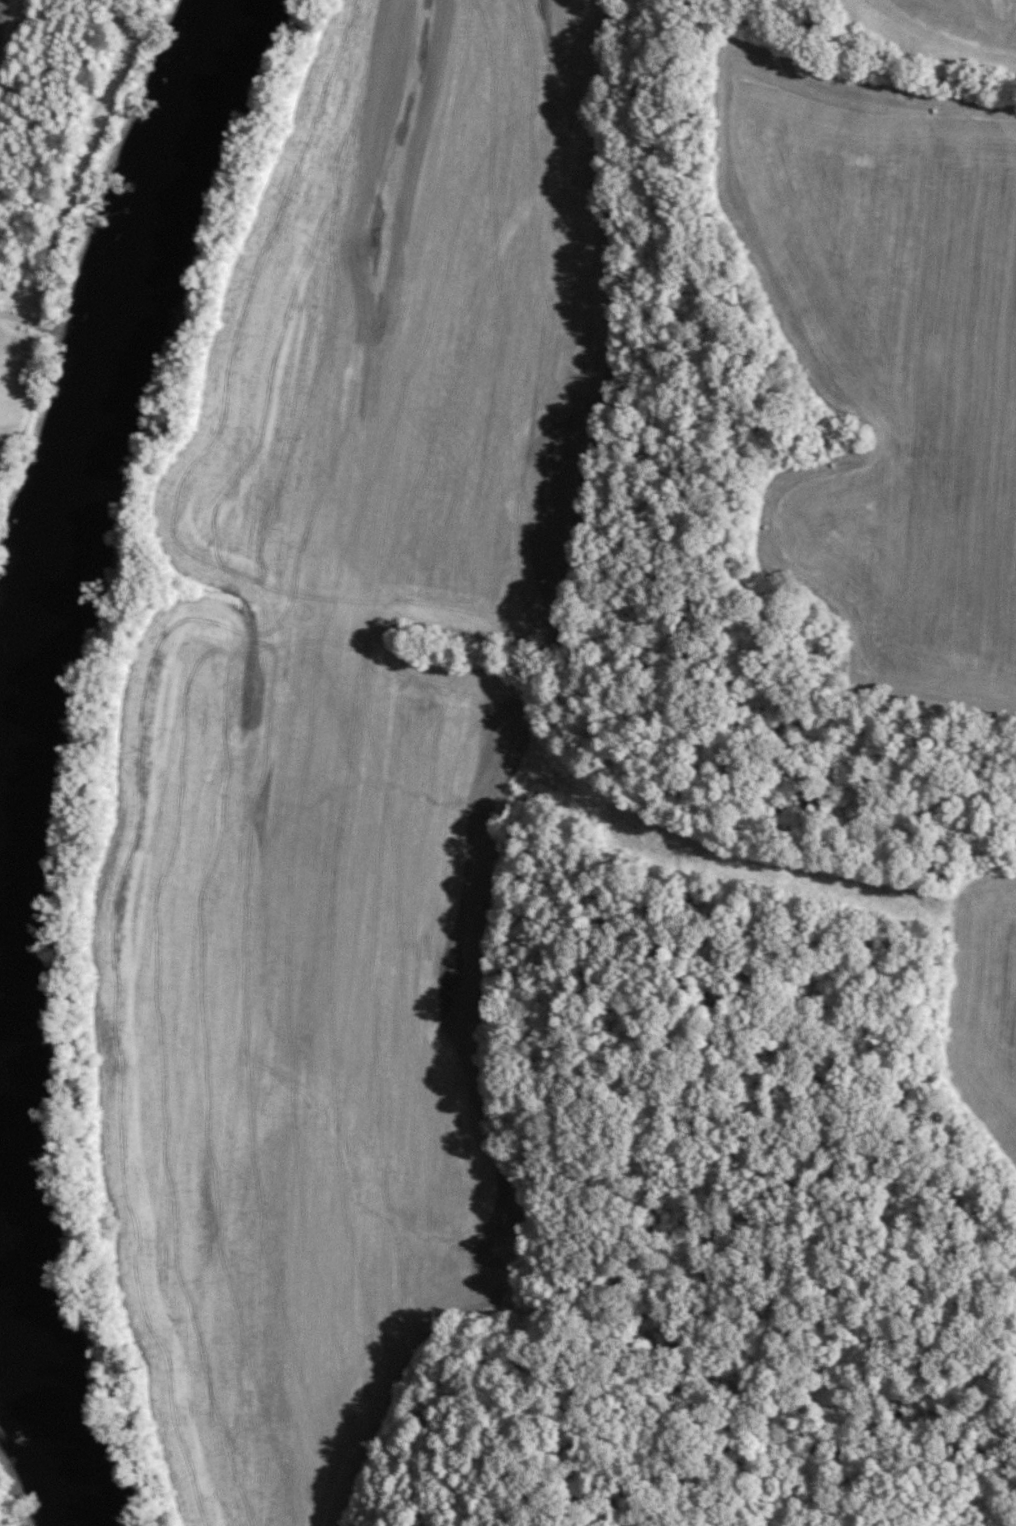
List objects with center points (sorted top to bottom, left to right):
river: (108, 409)
river: (16, 1300)

